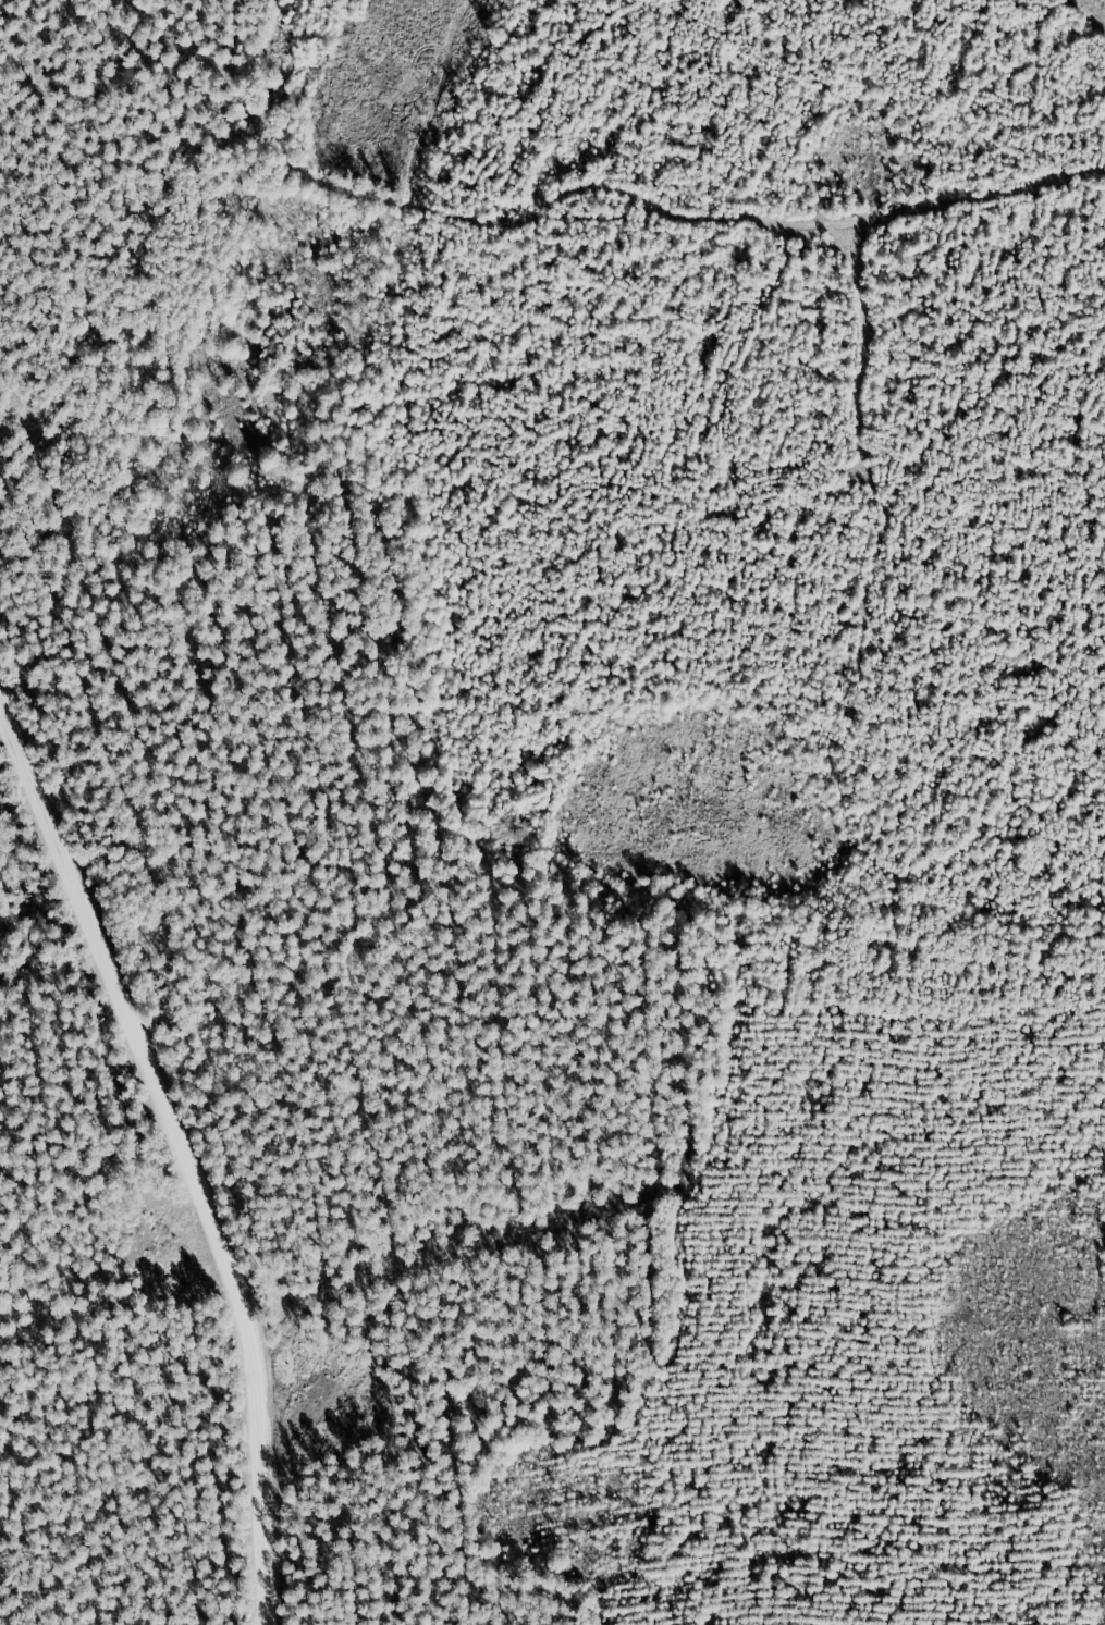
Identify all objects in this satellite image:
road: (180, 1113)

